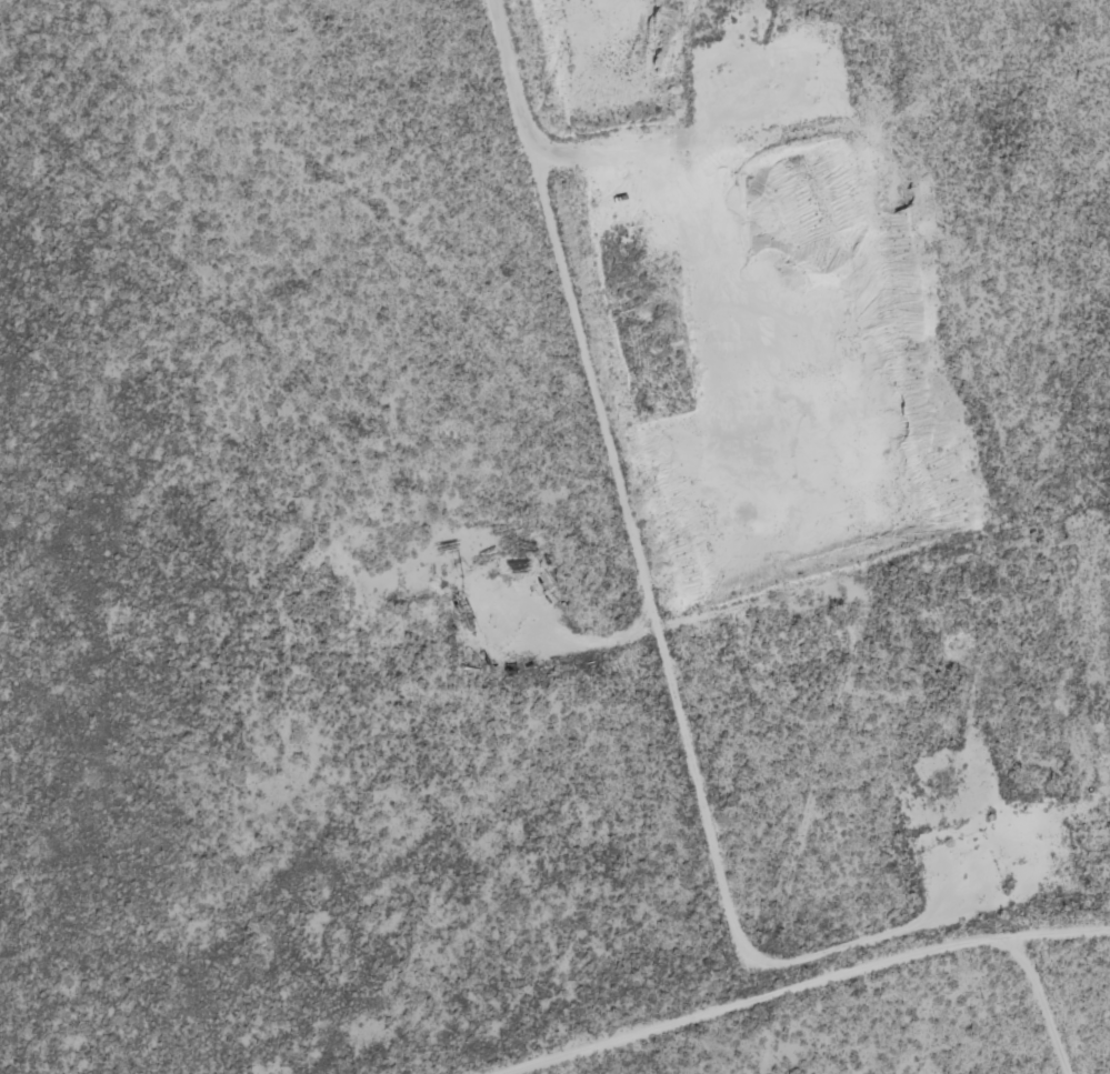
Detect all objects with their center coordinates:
road: (823, 581)
road: (791, 984)

